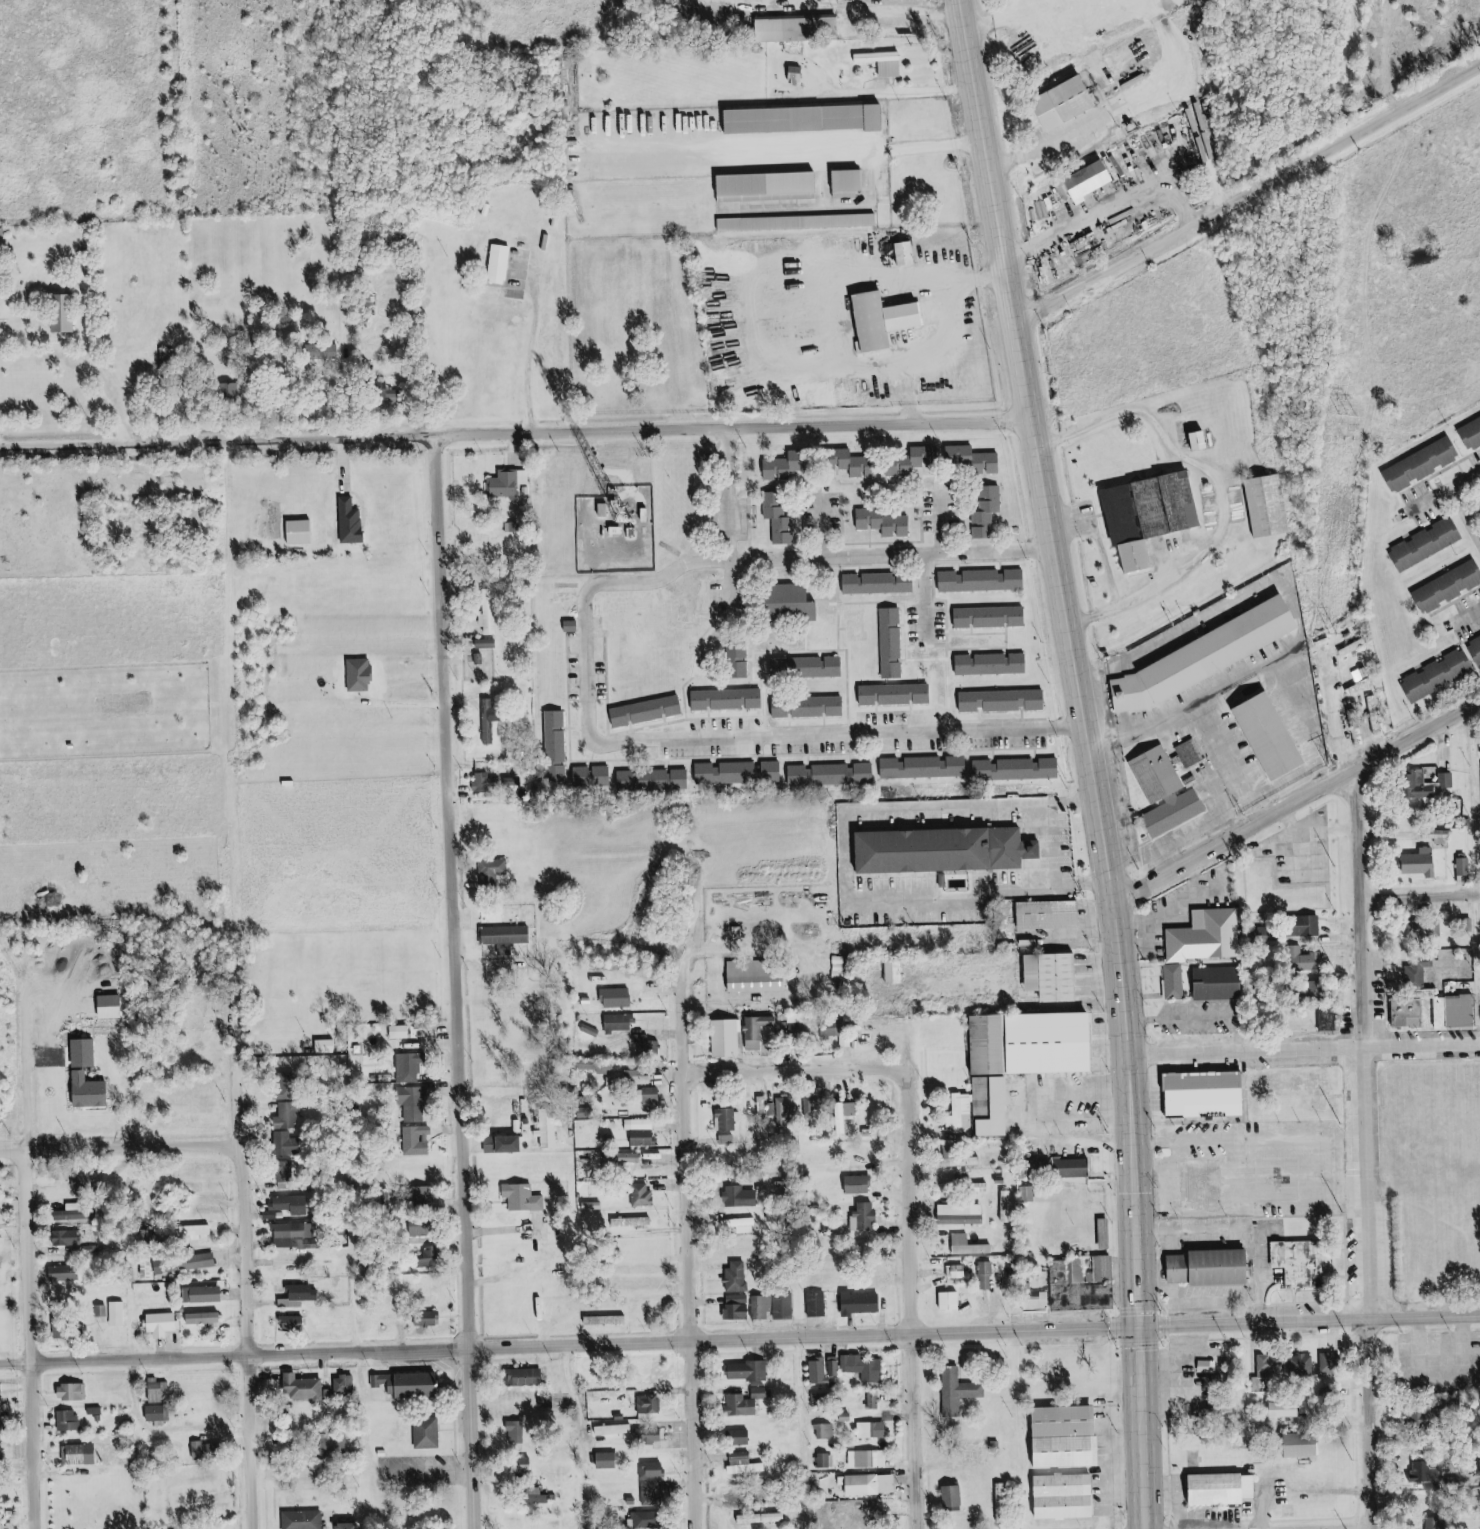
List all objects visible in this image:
road: (858, 5)
road: (882, 10)
building: (799, 28)
building: (919, 52)
building: (884, 62)
building: (797, 76)
road: (887, 91)
building: (1082, 92)
power tower: (1374, 98)
building: (1057, 110)
building: (808, 119)
road: (788, 141)
building: (1098, 178)
building: (848, 183)
building: (769, 186)
road: (1245, 199)
road: (835, 205)
road: (1111, 213)
building: (798, 222)
building: (908, 254)
building: (501, 264)
road: (980, 274)
road: (869, 275)
building: (64, 313)
building: (893, 316)
building: (322, 352)
building: (230, 391)
road: (914, 391)
power tower: (1350, 414)
road: (733, 426)
building: (1475, 433)
road: (219, 438)
building: (1203, 440)
building: (977, 459)
building: (914, 461)
building: (1429, 462)
building: (857, 463)
building: (787, 466)
building: (506, 483)
road: (737, 491)
road: (1227, 492)
road: (1451, 495)
building: (1265, 505)
road: (1470, 508)
building: (989, 512)
building: (1157, 513)
building: (780, 519)
building: (352, 522)
building: (884, 522)
building: (302, 532)
road: (1105, 532)
building: (1433, 544)
building: (982, 580)
building: (880, 583)
building: (1452, 585)
road: (939, 592)
building: (791, 602)
building: (490, 611)
building: (991, 617)
road: (1473, 619)
building: (573, 625)
power tower: (1332, 634)
building: (893, 643)
building: (1478, 646)
building: (1213, 653)
building: (739, 662)
building: (992, 664)
building: (808, 667)
road: (589, 672)
building: (361, 674)
building: (1445, 674)
building: (897, 694)
building: (729, 699)
building: (1004, 700)
road: (1479, 704)
building: (783, 706)
building: (820, 706)
building: (648, 711)
building: (1375, 715)
building: (491, 719)
building: (1261, 737)
road: (1451, 739)
building: (557, 746)
building: (1199, 751)
road: (1086, 760)
power tower: (1330, 765)
building: (925, 767)
building: (1018, 769)
road: (1465, 769)
building: (1167, 772)
building: (740, 773)
building: (833, 774)
building: (594, 777)
building: (655, 780)
building: (485, 782)
building: (1436, 782)
road: (1298, 802)
building: (1182, 814)
road: (1394, 833)
building: (1445, 835)
road: (1311, 841)
road: (1058, 845)
building: (951, 848)
building: (1427, 863)
road: (858, 865)
building: (1463, 866)
building: (1473, 868)
building: (493, 870)
road: (450, 891)
road: (1423, 894)
building: (1042, 916)
building: (1311, 925)
building: (1425, 929)
building: (1216, 936)
building: (507, 937)
road: (752, 947)
building: (1313, 961)
building: (840, 967)
building: (1417, 971)
building: (896, 972)
building: (766, 974)
building: (1055, 976)
building: (1163, 977)
building: (1204, 979)
building: (1174, 980)
building: (1320, 987)
building: (617, 998)
building: (1436, 1010)
building: (1192, 1014)
building: (1328, 1019)
building: (620, 1023)
building: (408, 1031)
building: (758, 1031)
building: (728, 1038)
building: (1035, 1043)
building: (646, 1045)
building: (327, 1046)
road: (1302, 1051)
building: (85, 1053)
building: (410, 1066)
building: (598, 1066)
road: (786, 1069)
building: (1298, 1086)
building: (91, 1091)
building: (652, 1094)
building: (1199, 1094)
building: (415, 1103)
building: (814, 1104)
building: (991, 1105)
building: (783, 1109)
building: (961, 1112)
building: (845, 1115)
building: (288, 1117)
building: (726, 1119)
building: (640, 1124)
building: (548, 1132)
building: (643, 1138)
building: (417, 1140)
road: (1248, 1141)
building: (287, 1143)
building: (506, 1144)
road: (1367, 1146)
road: (116, 1150)
building: (623, 1158)
building: (962, 1162)
building: (1074, 1168)
road: (1307, 1172)
building: (288, 1174)
park: (1423, 1179)
building: (89, 1181)
building: (860, 1184)
building: (1198, 1185)
building: (1027, 1194)
building: (424, 1195)
building: (644, 1195)
building: (741, 1197)
building: (524, 1198)
road: (1307, 1199)
building: (289, 1206)
building: (962, 1214)
building: (69, 1215)
building: (866, 1215)
building: (634, 1222)
building: (740, 1223)
building: (192, 1231)
road: (1194, 1232)
building: (291, 1235)
building: (68, 1238)
building: (0, 1244)
building: (969, 1245)
road: (681, 1255)
building: (426, 1259)
building: (198, 1262)
building: (1306, 1263)
building: (1217, 1268)
building: (148, 1270)
building: (957, 1271)
building: (66, 1273)
building: (986, 1275)
building: (738, 1276)
building: (1073, 1285)
building: (204, 1295)
road: (237, 1295)
building: (301, 1296)
road: (907, 1296)
building: (952, 1301)
building: (862, 1303)
building: (817, 1304)
building: (784, 1306)
building: (749, 1307)
building: (118, 1313)
building: (206, 1319)
building: (428, 1319)
building: (605, 1320)
building: (294, 1323)
building: (164, 1324)
traffic signals: (1136, 1324)
road: (970, 1331)
road: (23, 1341)
road: (229, 1357)
building: (1331, 1364)
building: (1303, 1365)
building: (1206, 1366)
building: (1216, 1366)
building: (1272, 1366)
building: (864, 1367)
building: (835, 1368)
building: (749, 1371)
building: (819, 1371)
building: (527, 1377)
building: (402, 1384)
building: (345, 1385)
building: (304, 1387)
building: (74, 1392)
building: (958, 1392)
building: (158, 1393)
building: (548, 1401)
building: (874, 1401)
building: (746, 1403)
building: (650, 1404)
building: (1287, 1409)
building: (159, 1414)
building: (1417, 1414)
building: (69, 1420)
building: (615, 1430)
building: (872, 1430)
building: (825, 1431)
building: (520, 1432)
road: (807, 1432)
building: (428, 1434)
building: (650, 1436)
building: (740, 1437)
building: (1069, 1437)
road: (462, 1439)
building: (1305, 1445)
building: (207, 1449)
building: (81, 1454)
building: (868, 1459)
building: (608, 1460)
building: (825, 1460)
building: (2, 1462)
building: (745, 1464)
building: (523, 1466)
building: (654, 1470)
building: (1424, 1473)
building: (872, 1484)
building: (1225, 1489)
building: (652, 1493)
building: (954, 1496)
building: (1067, 1497)
building: (1001, 1503)
building: (763, 1518)
building: (303, 1520)
building: (647, 1520)
building: (1434, 1523)
building: (349, 1526)

